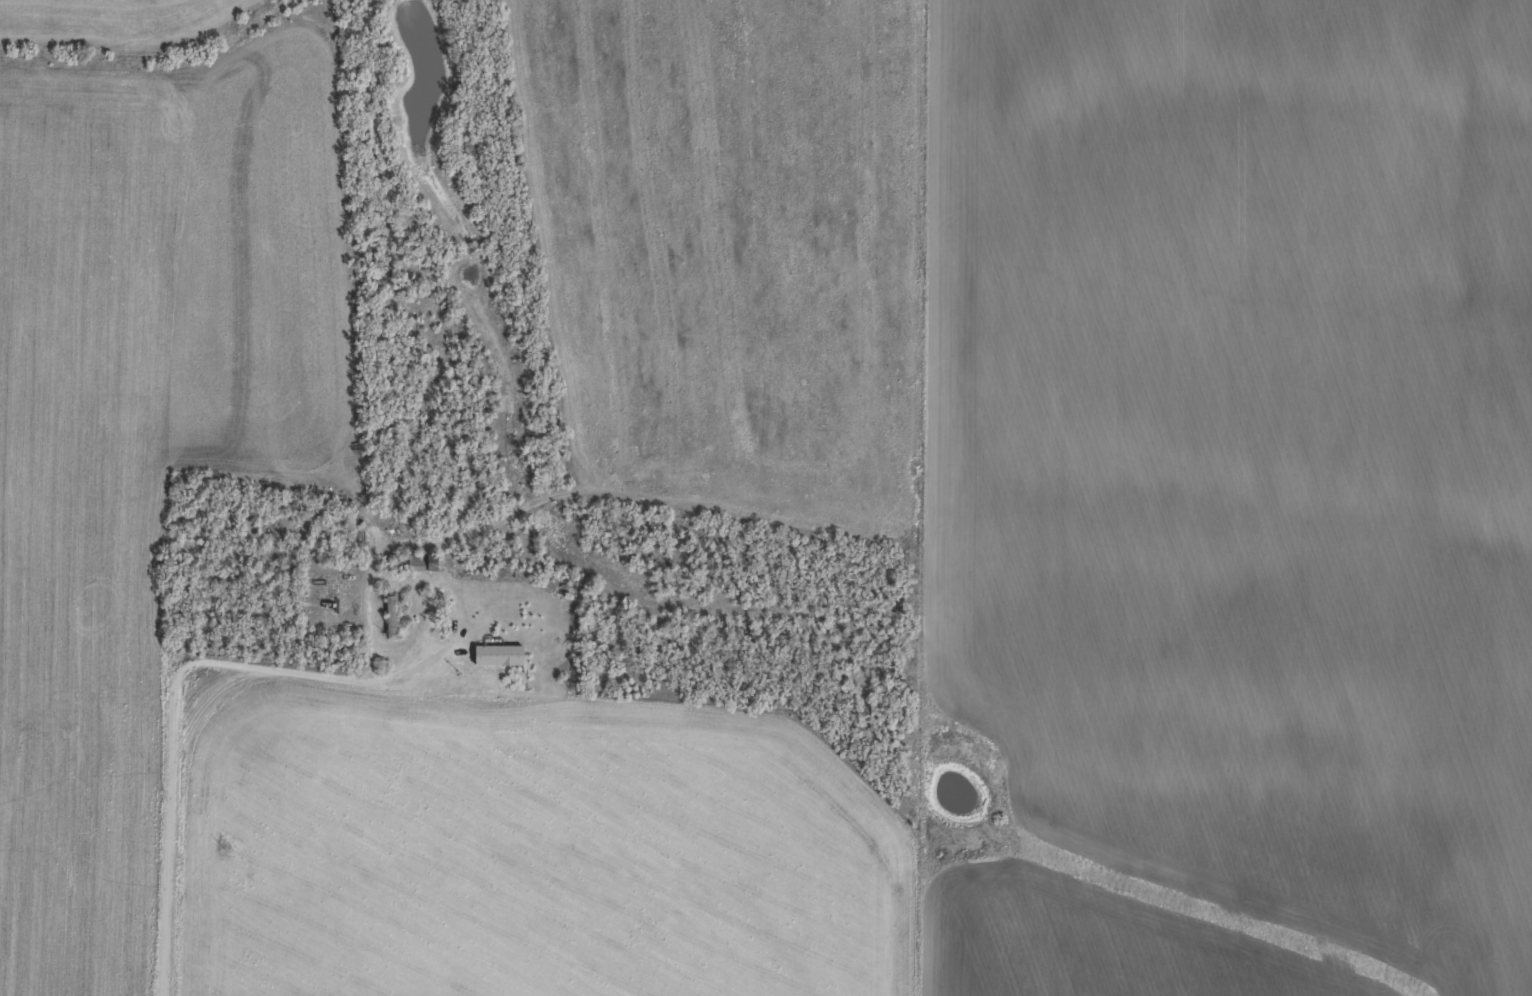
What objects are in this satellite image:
building: (423, 562)
building: (392, 617)
building: (499, 654)

